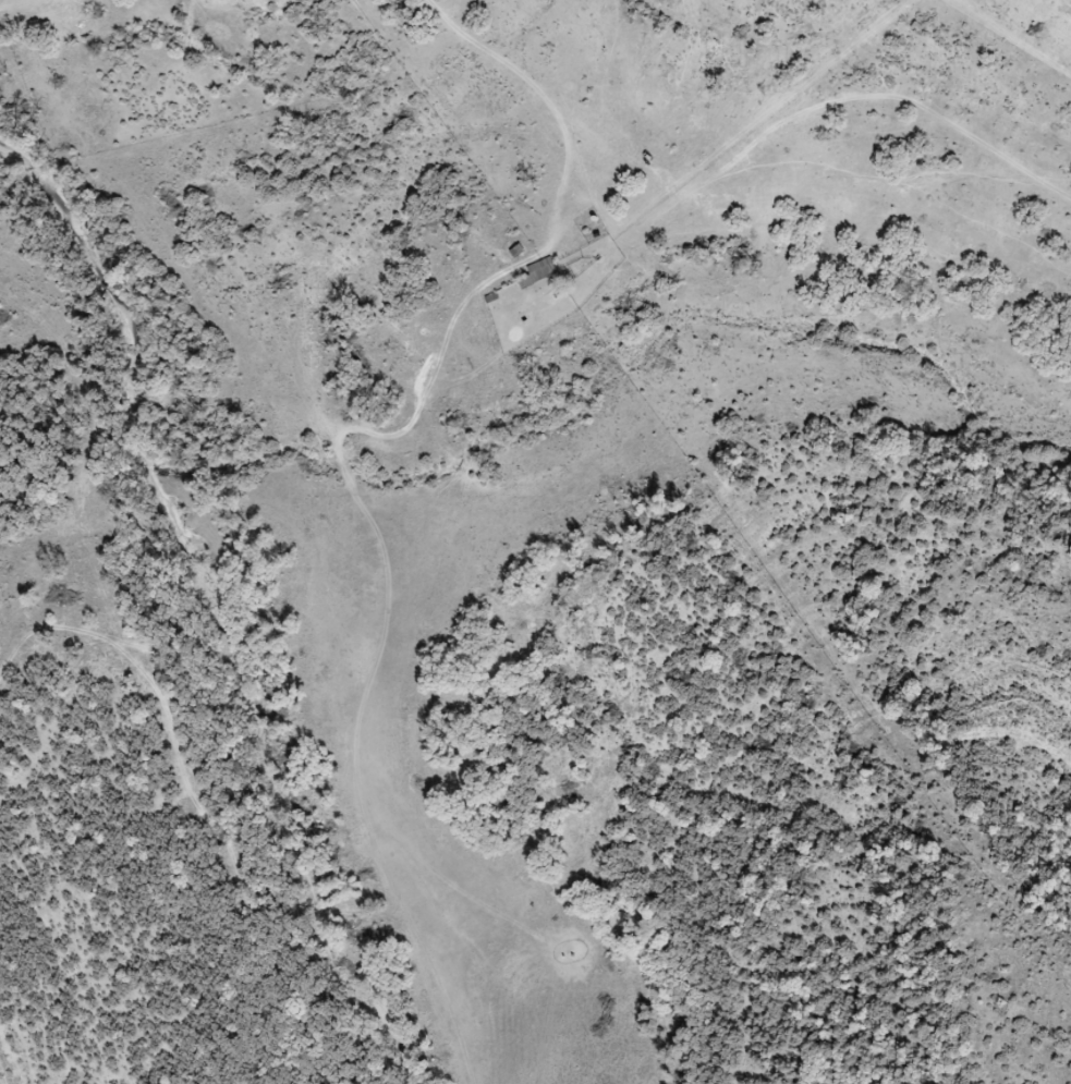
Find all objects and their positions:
road: (667, 155)

